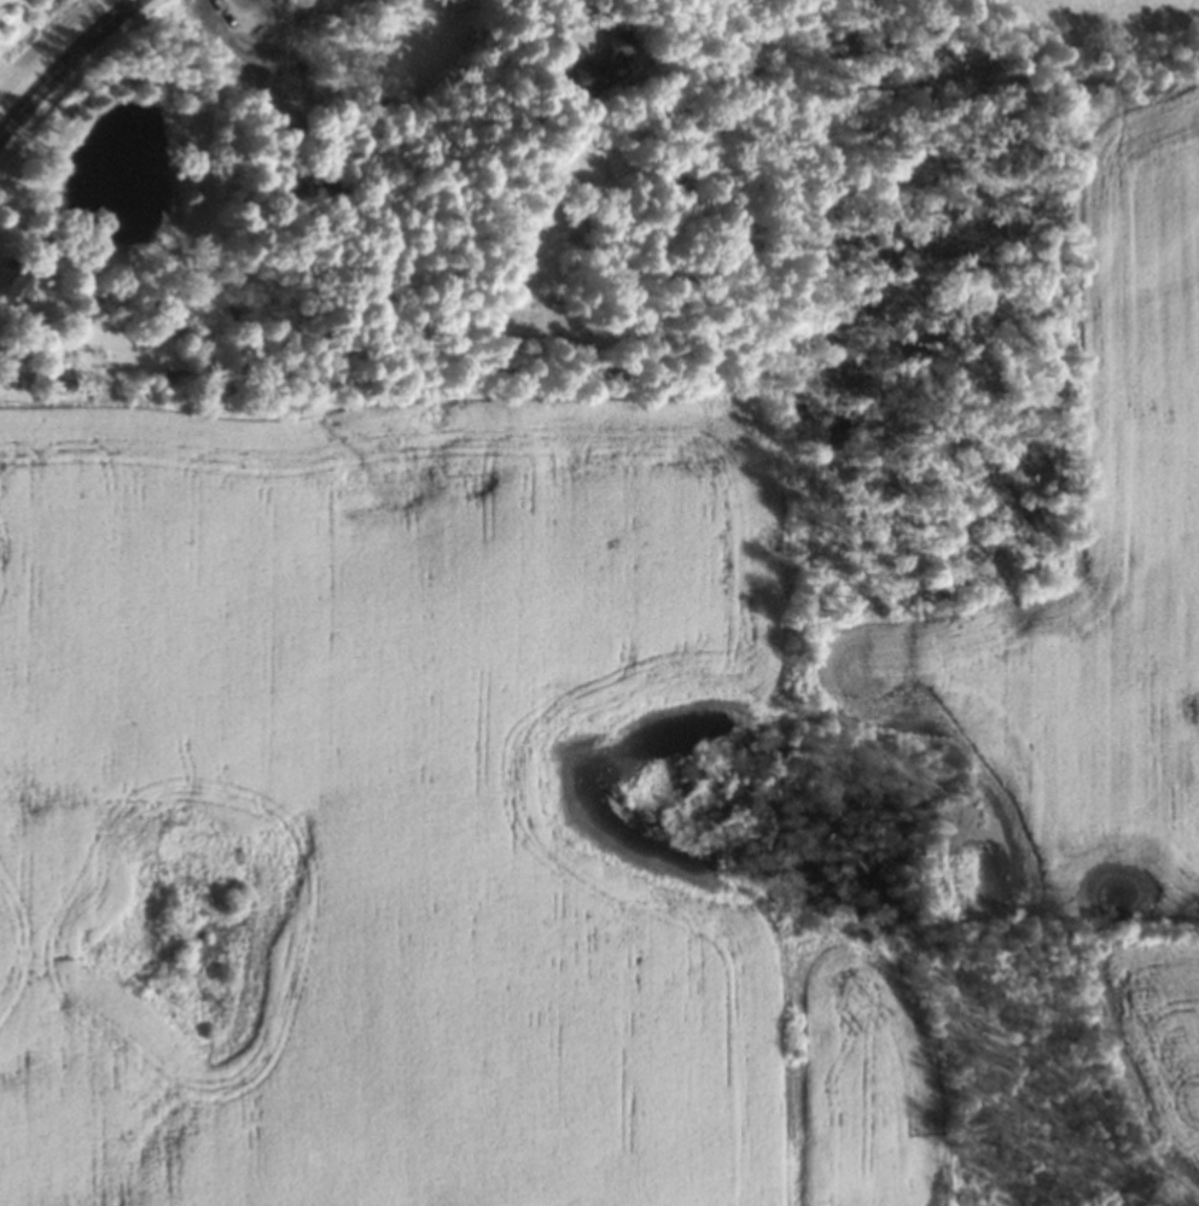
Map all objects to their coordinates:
road: (63, 63)
building: (604, 64)
building: (11, 280)

